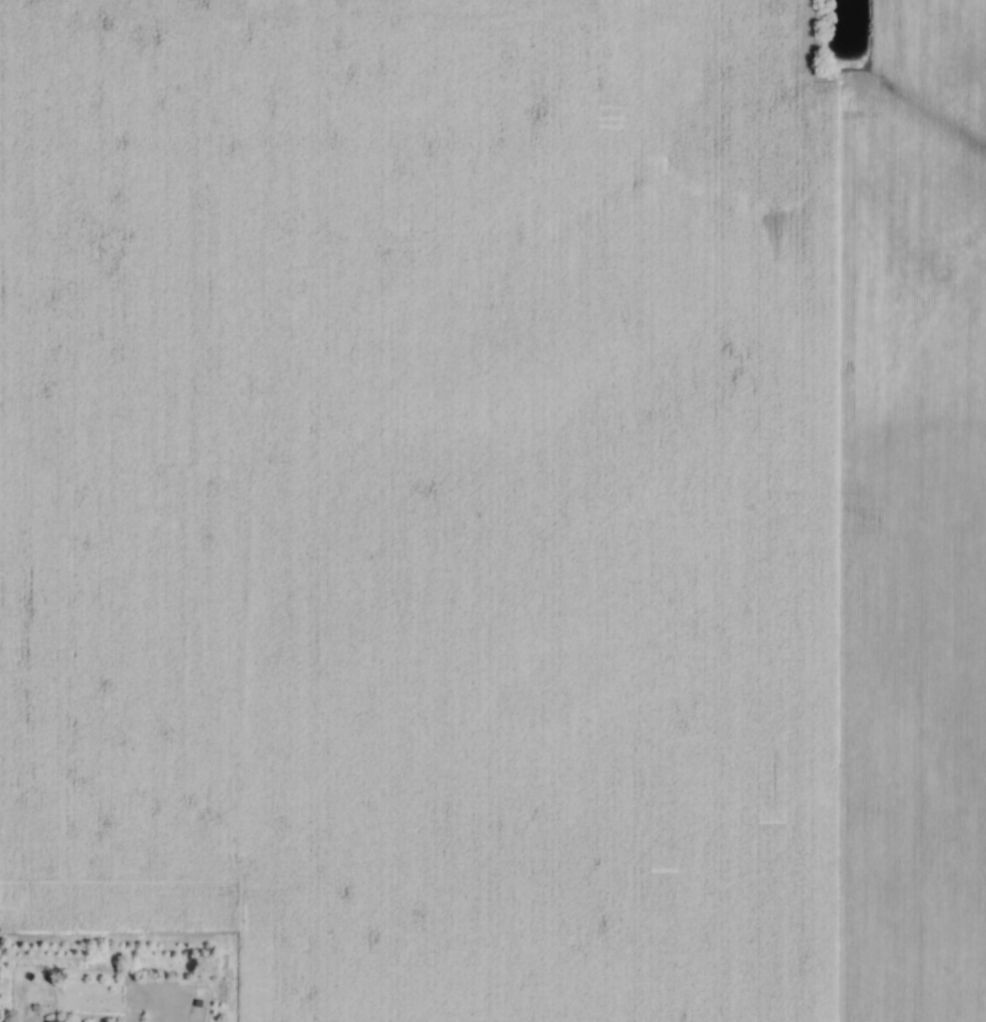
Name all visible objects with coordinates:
building: (51, 1021)

